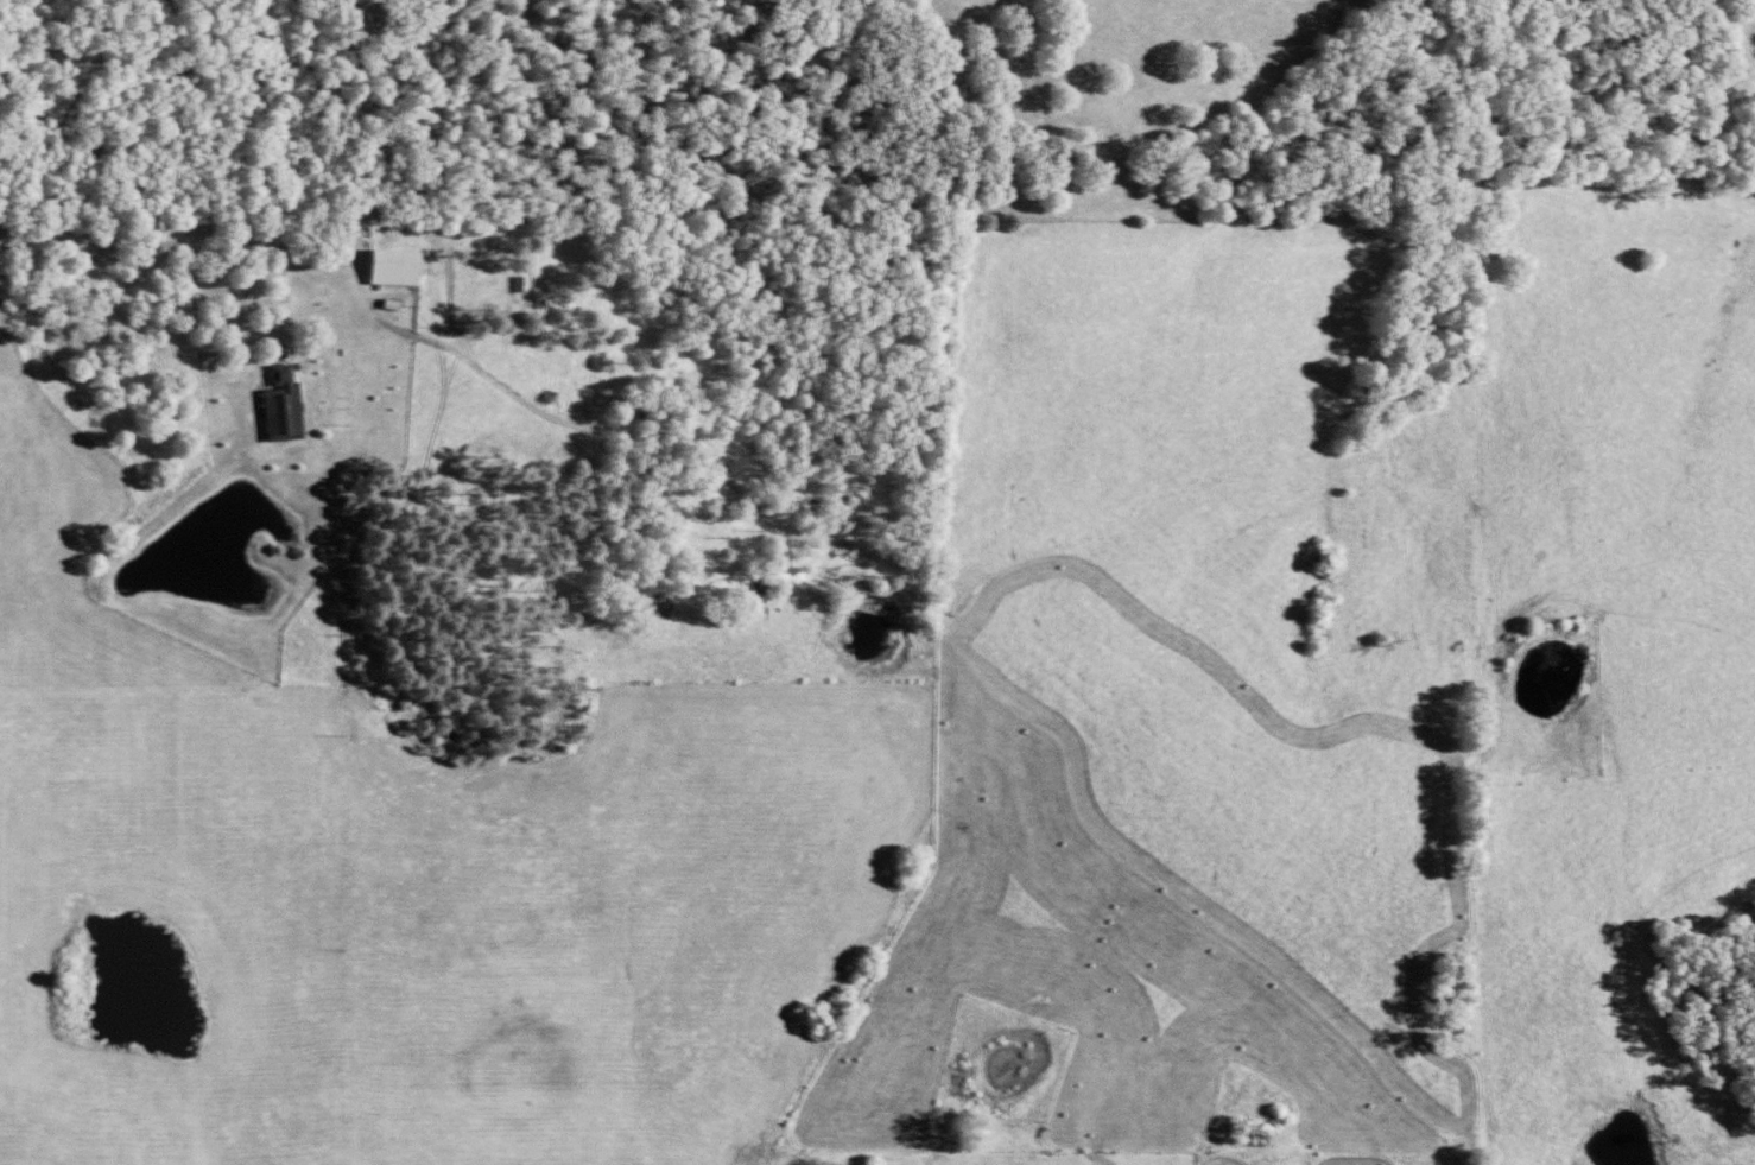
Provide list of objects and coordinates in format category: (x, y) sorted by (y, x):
building: (404, 265)
building: (291, 401)

